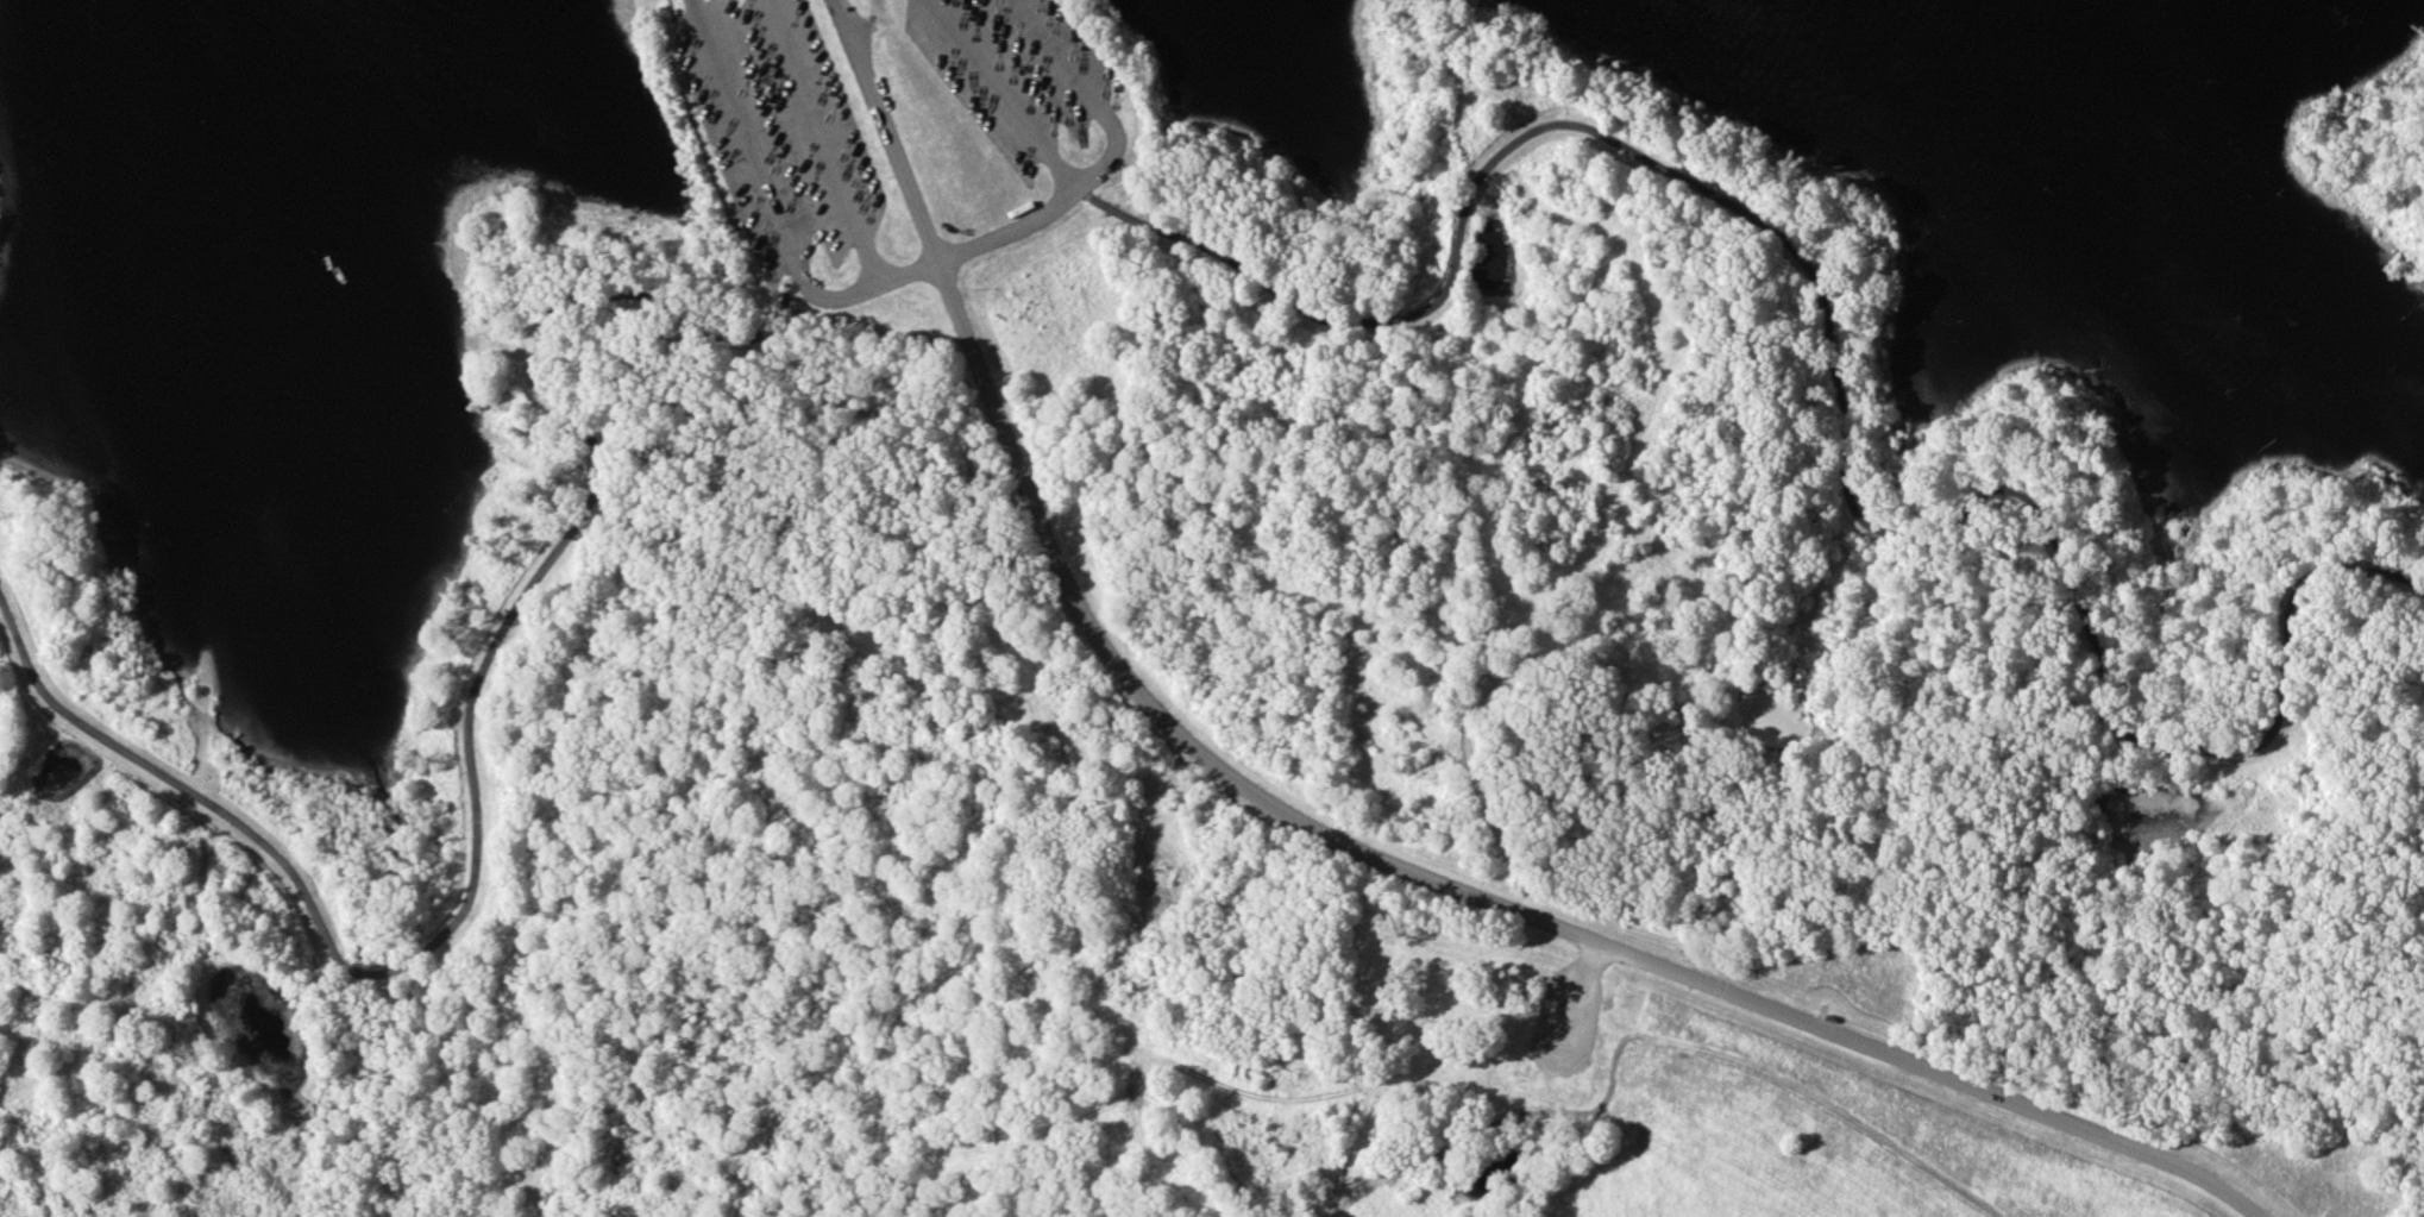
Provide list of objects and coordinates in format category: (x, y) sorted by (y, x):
road: (697, 6)
road: (680, 20)
road: (1060, 59)
parking lot: (1023, 69)
road: (990, 80)
road: (814, 114)
parking lot: (780, 125)
road: (746, 134)
park: (1, 150)
park: (2381, 168)
road: (1098, 171)
road: (868, 255)
road: (797, 262)
road: (936, 262)
road: (1834, 378)
park: (1235, 704)
road: (475, 765)
road: (1332, 836)
road: (146, 983)
road: (1582, 1002)
road: (1662, 1042)
parking lot: (1563, 1060)

